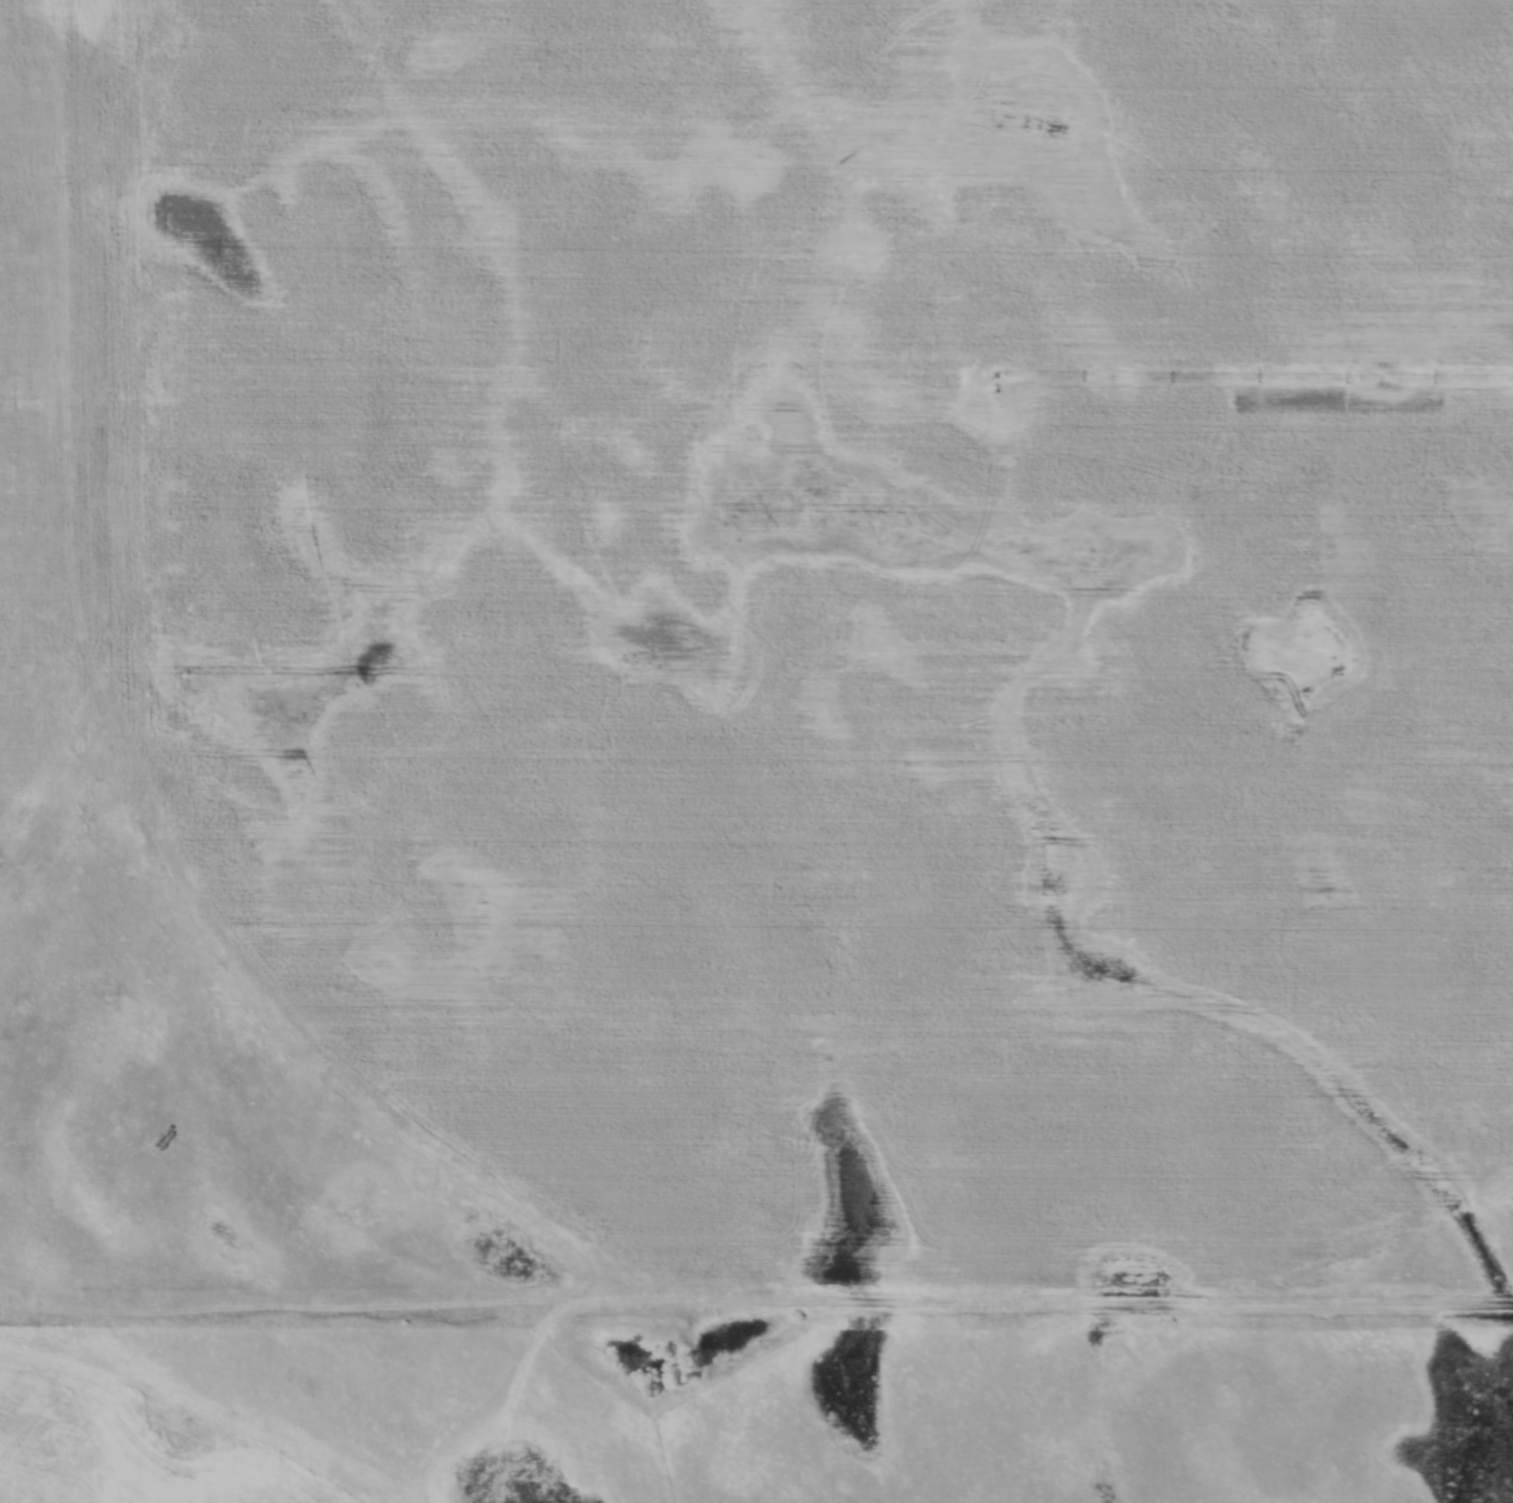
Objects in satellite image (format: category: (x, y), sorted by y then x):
road: (756, 1307)

